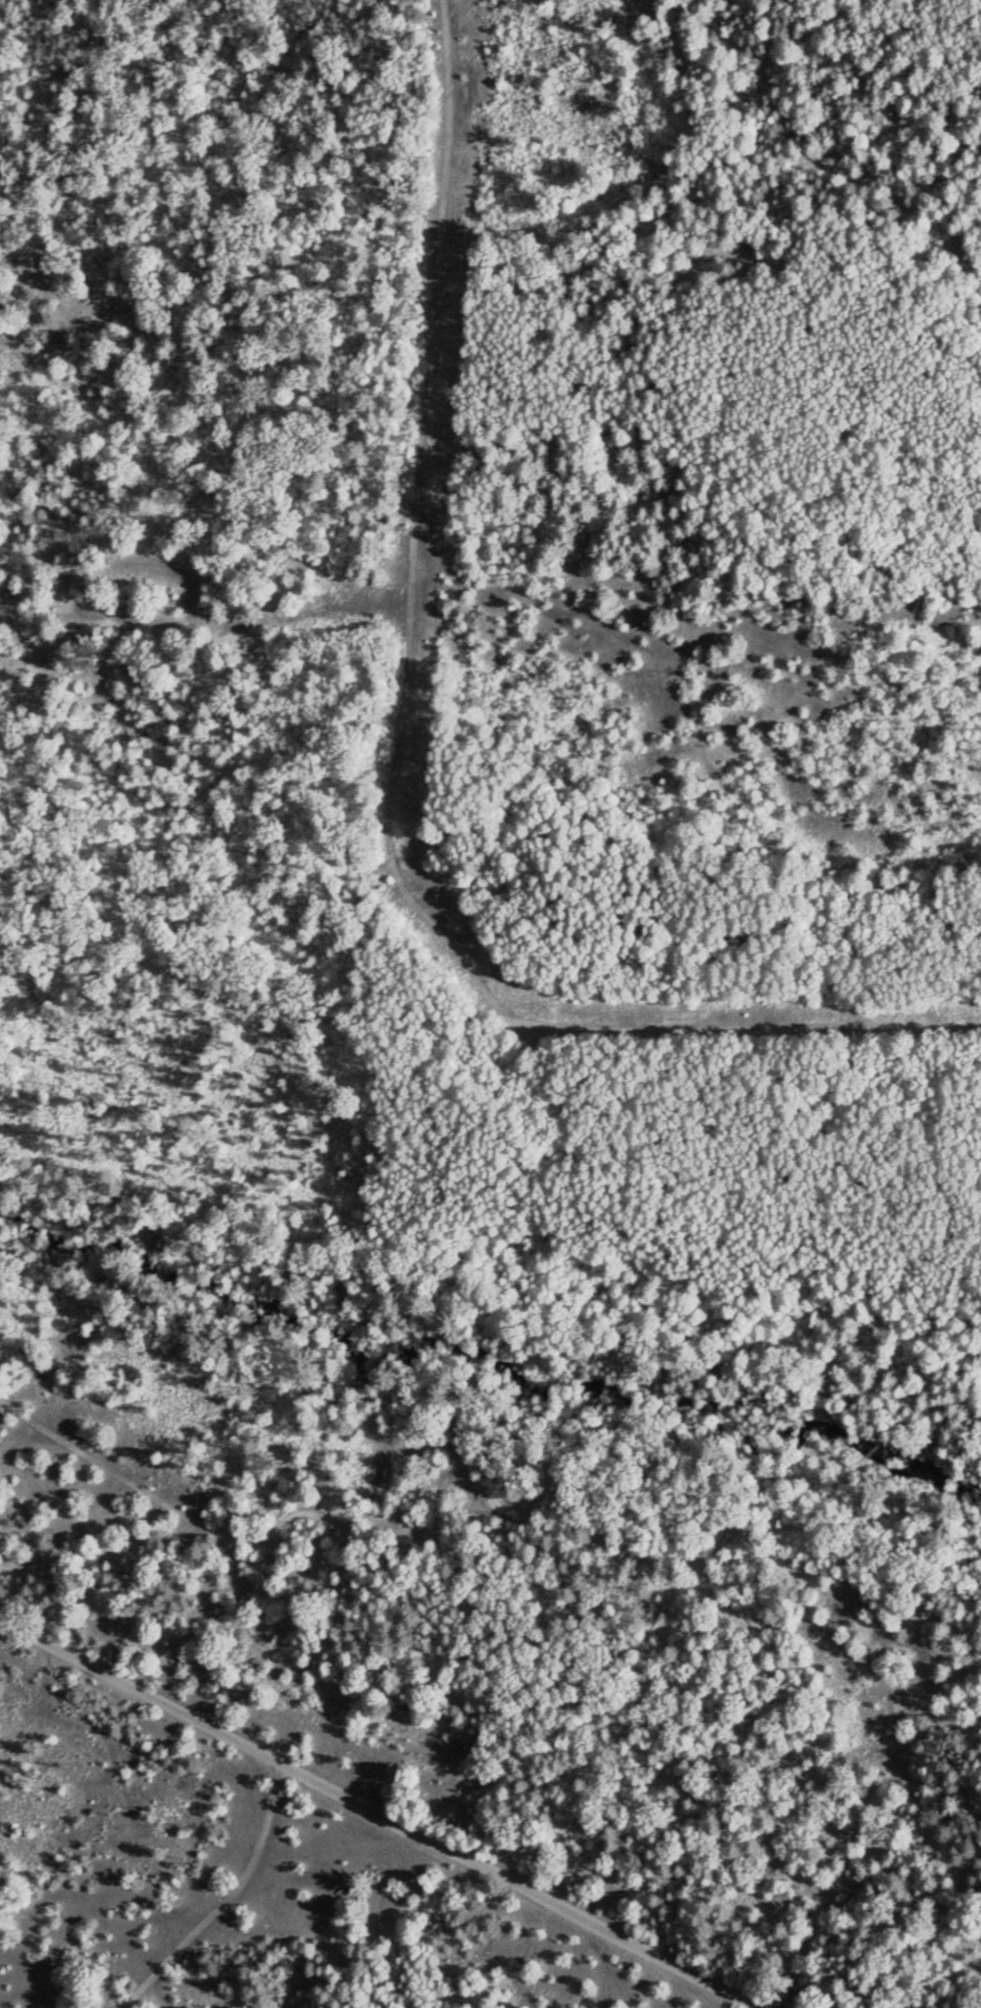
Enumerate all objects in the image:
road: (415, 525)
road: (470, 1014)
road: (843, 1355)
road: (616, 1549)
road: (944, 1680)
road: (387, 1808)
road: (229, 1897)

